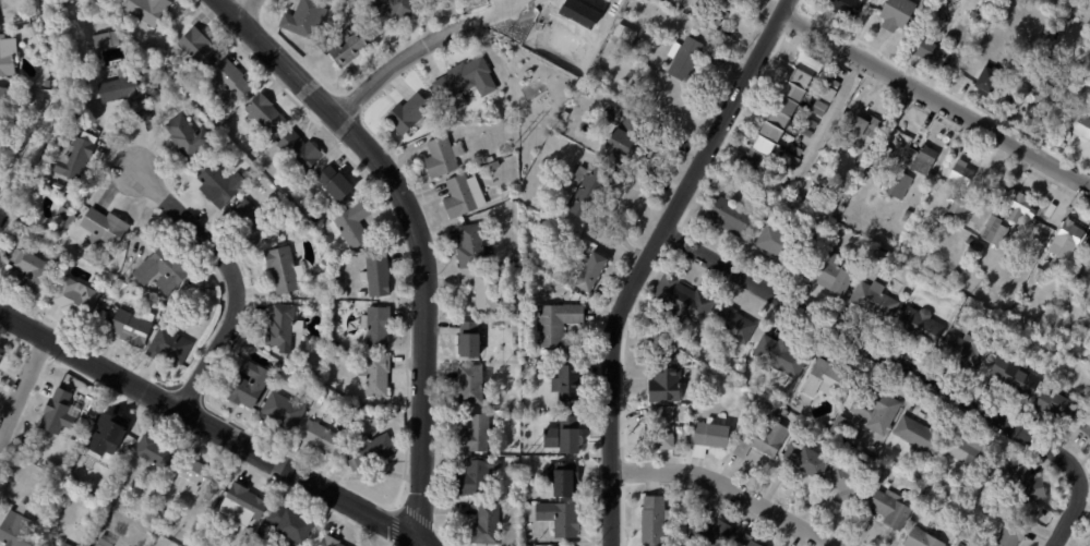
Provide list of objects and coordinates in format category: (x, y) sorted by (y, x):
road: (242, 3)
building: (843, 7)
building: (393, 10)
road: (510, 10)
building: (714, 10)
building: (149, 11)
building: (692, 12)
building: (1003, 12)
building: (894, 14)
building: (307, 19)
building: (1064, 20)
building: (0, 24)
building: (627, 34)
building: (640, 45)
building: (199, 47)
building: (352, 47)
building: (929, 52)
building: (9, 56)
building: (687, 58)
road: (406, 62)
building: (985, 80)
building: (232, 82)
building: (467, 82)
building: (830, 82)
building: (1037, 88)
building: (824, 93)
building: (129, 95)
road: (938, 95)
building: (22, 97)
building: (4, 101)
building: (45, 104)
building: (816, 108)
building: (779, 113)
building: (268, 114)
building: (412, 114)
building: (807, 122)
building: (1080, 125)
building: (861, 128)
building: (803, 131)
building: (190, 136)
building: (1067, 136)
power tower: (518, 141)
building: (627, 141)
building: (20, 148)
building: (793, 149)
building: (302, 150)
building: (76, 156)
building: (444, 156)
building: (492, 159)
building: (786, 160)
building: (923, 160)
building: (496, 165)
building: (780, 171)
building: (220, 183)
building: (58, 184)
building: (336, 185)
building: (882, 185)
building: (896, 185)
building: (591, 191)
building: (956, 192)
building: (466, 196)
building: (1018, 207)
building: (62, 208)
building: (906, 213)
building: (727, 216)
building: (68, 220)
building: (352, 222)
building: (254, 223)
building: (547, 225)
building: (103, 226)
building: (45, 231)
building: (993, 231)
building: (1068, 235)
building: (56, 236)
road: (417, 238)
building: (1011, 238)
building: (778, 241)
building: (980, 245)
building: (1087, 245)
building: (474, 246)
building: (876, 255)
road: (648, 258)
building: (1088, 259)
building: (284, 267)
building: (28, 268)
building: (166, 269)
building: (376, 272)
building: (594, 272)
building: (828, 274)
road: (231, 275)
building: (1077, 279)
building: (1043, 280)
building: (489, 292)
building: (320, 294)
building: (75, 296)
building: (578, 296)
building: (680, 300)
building: (872, 301)
building: (105, 305)
building: (517, 311)
building: (961, 312)
building: (956, 321)
building: (283, 324)
building: (376, 324)
building: (559, 324)
building: (730, 325)
building: (918, 325)
building: (131, 327)
building: (1043, 329)
building: (1079, 332)
building: (472, 340)
building: (171, 345)
road: (875, 350)
building: (965, 352)
building: (2, 354)
building: (777, 354)
building: (555, 355)
building: (336, 356)
building: (279, 366)
building: (285, 371)
building: (379, 375)
building: (292, 376)
building: (662, 377)
building: (1013, 377)
building: (823, 379)
building: (245, 381)
building: (475, 384)
building: (566, 384)
road: (23, 392)
building: (1043, 399)
building: (516, 404)
building: (1059, 404)
building: (284, 408)
building: (873, 409)
building: (60, 413)
building: (782, 413)
building: (508, 416)
building: (517, 416)
road: (215, 426)
building: (657, 428)
building: (1086, 428)
building: (841, 429)
building: (563, 433)
building: (479, 435)
building: (919, 435)
building: (319, 436)
building: (709, 438)
building: (758, 439)
building: (373, 451)
building: (158, 452)
power tower: (515, 452)
building: (968, 457)
building: (804, 462)
building: (999, 463)
building: (561, 474)
building: (891, 474)
building: (480, 476)
building: (200, 477)
building: (847, 484)
building: (1023, 484)
road: (729, 487)
building: (245, 505)
building: (888, 509)
building: (160, 512)
road: (1071, 513)
building: (560, 515)
building: (650, 521)
building: (292, 524)
building: (489, 524)
building: (17, 531)
building: (1008, 533)
building: (709, 534)
building: (919, 538)
building: (743, 541)
building: (107, 542)
building: (332, 542)
building: (67, 544)
road: (420, 544)
building: (52, 545)
building: (960, 545)

